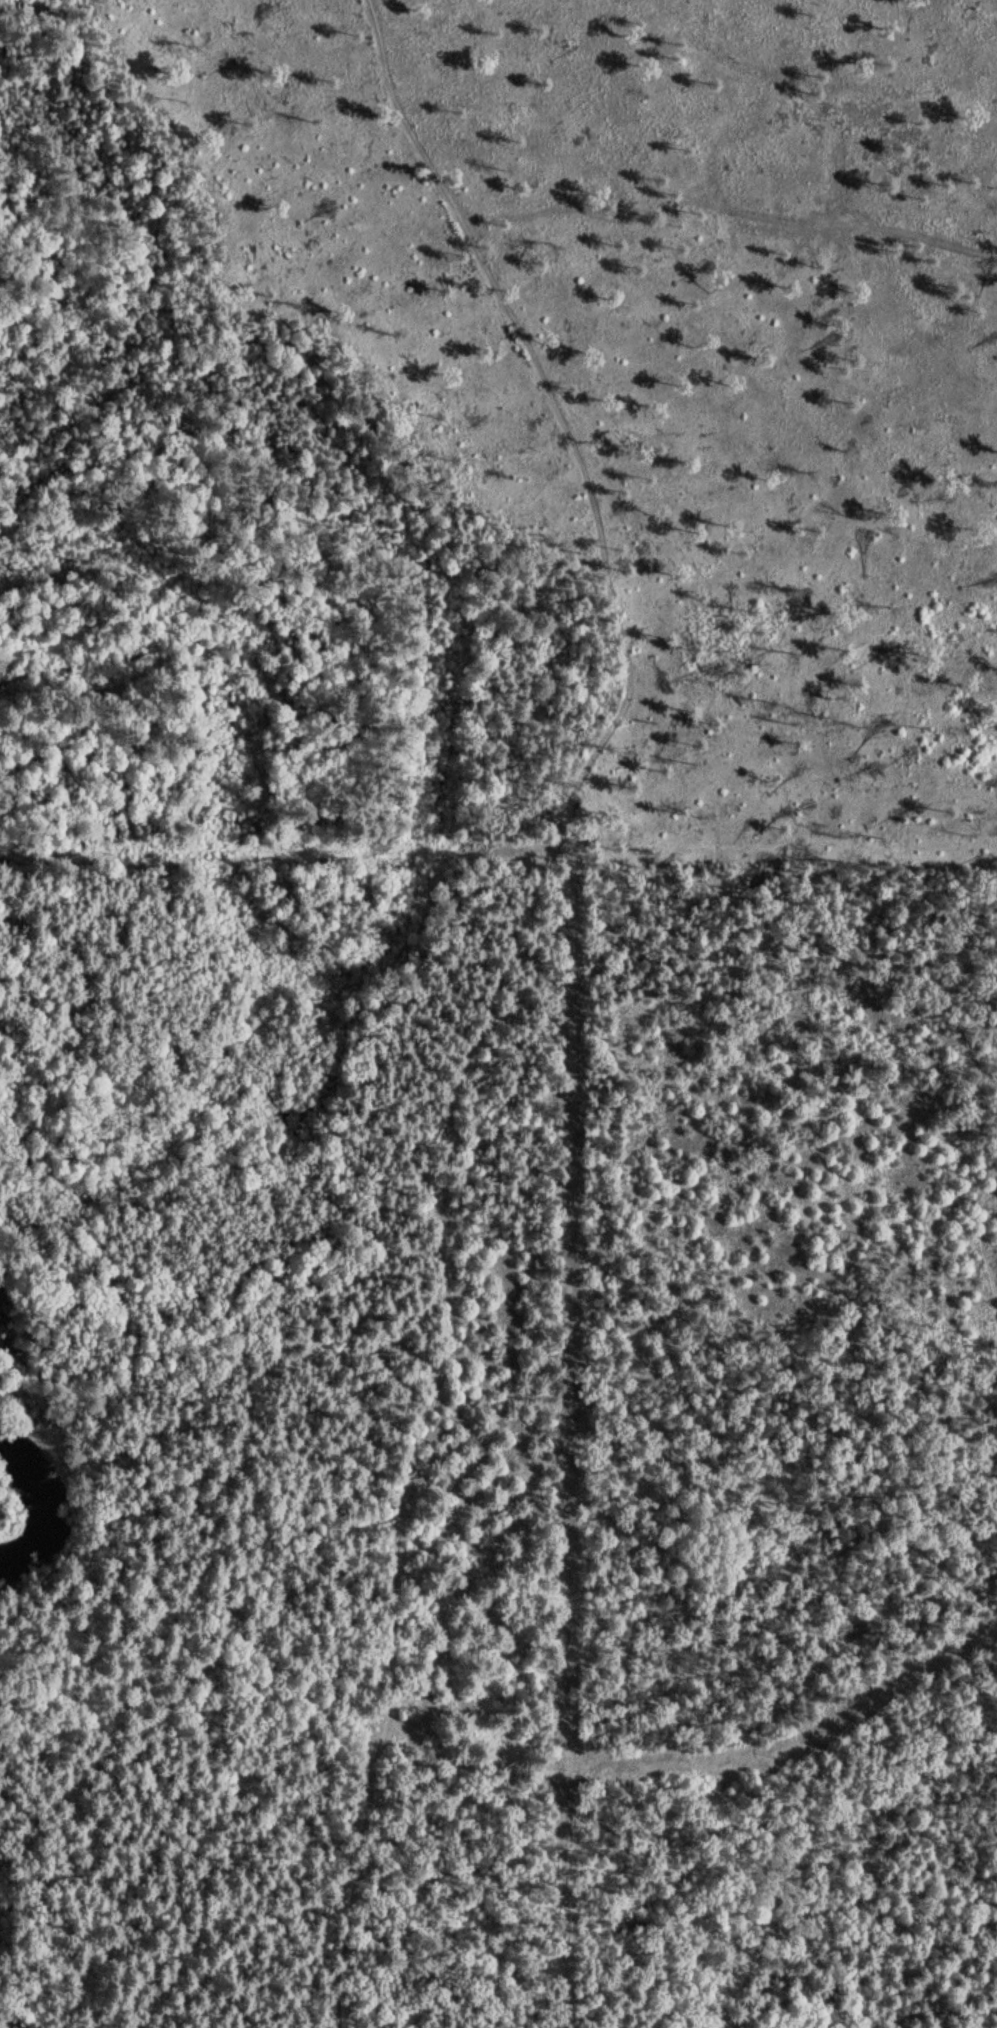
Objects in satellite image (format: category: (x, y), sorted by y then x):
road: (484, 1029)
river: (46, 1505)
building: (593, 2027)

